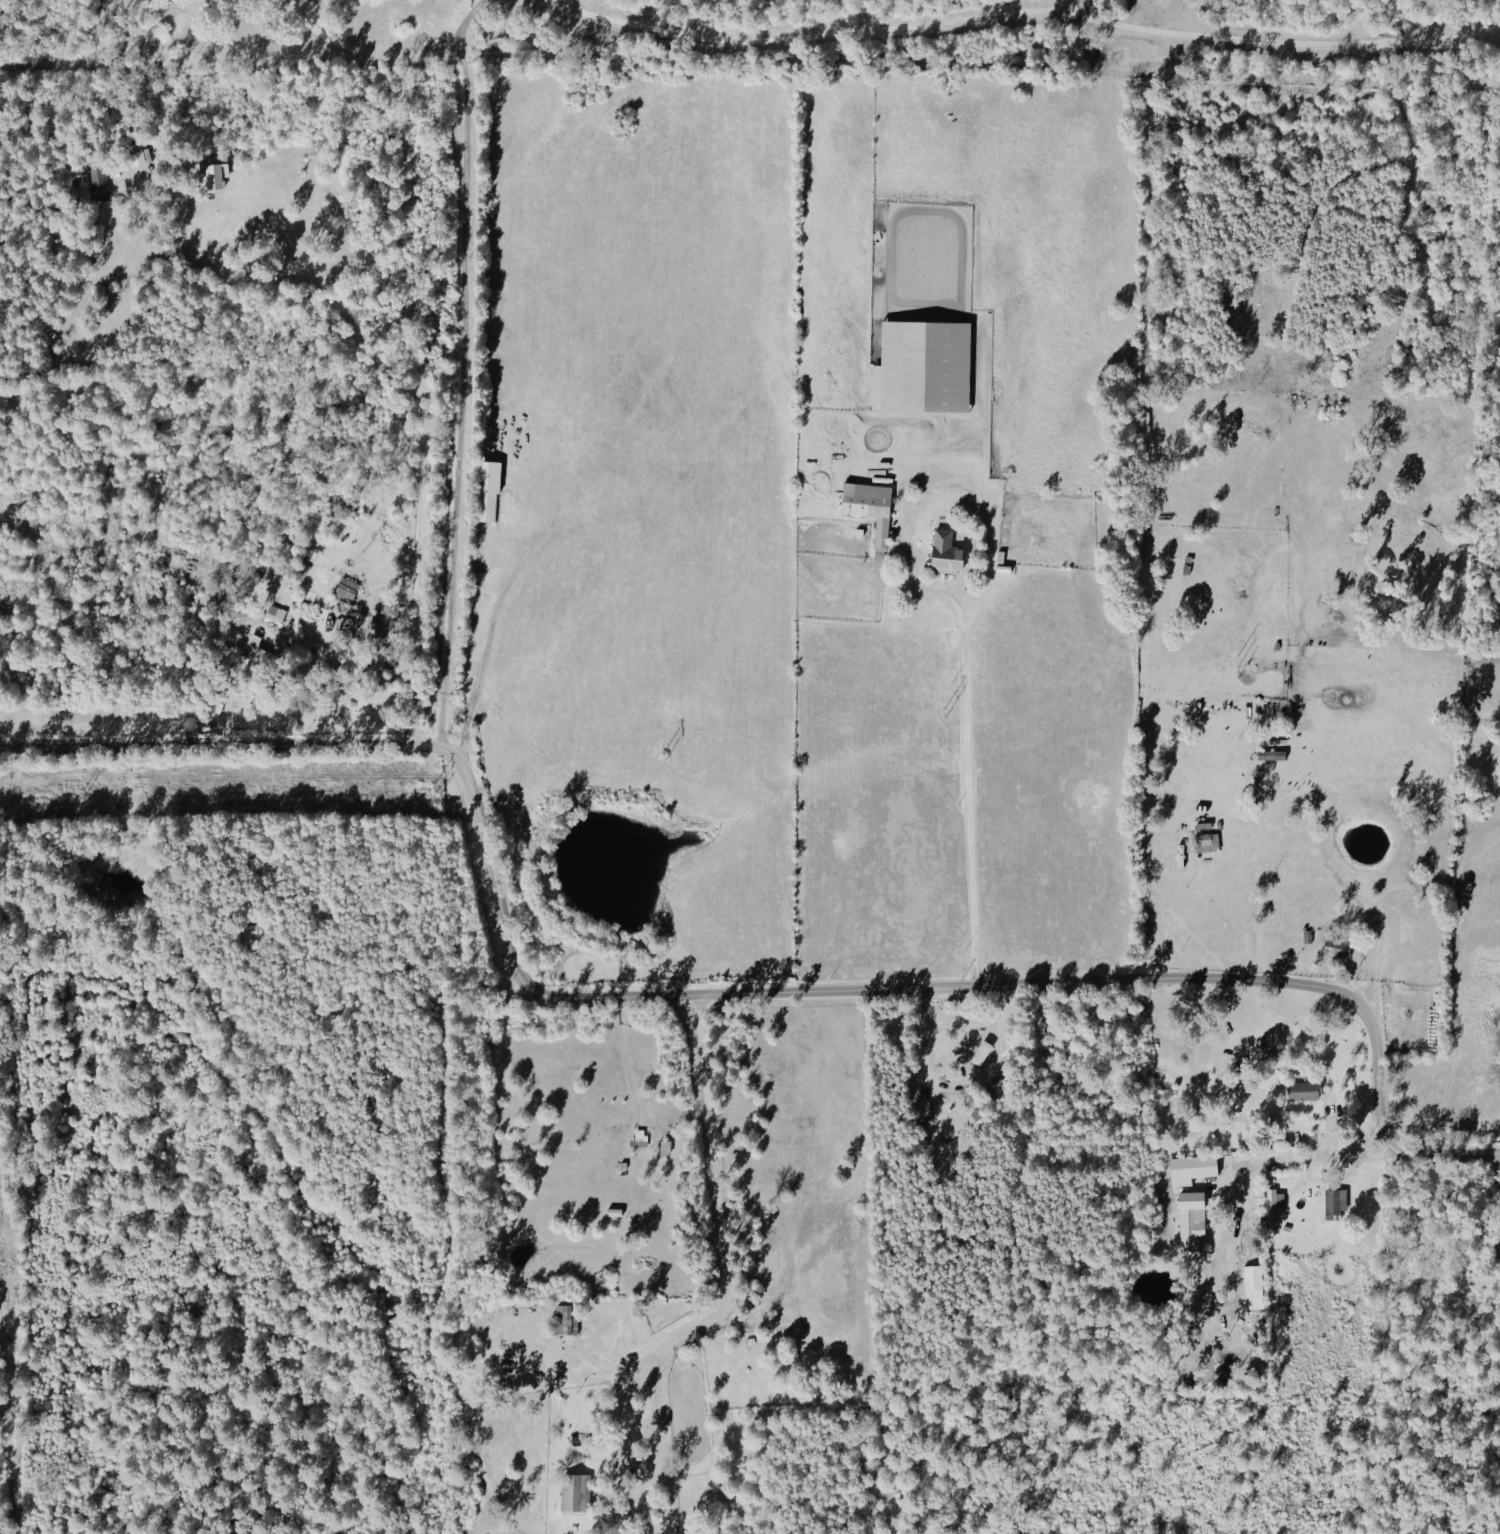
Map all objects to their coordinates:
road: (1022, 18)
road: (364, 49)
building: (213, 164)
building: (97, 183)
building: (921, 367)
road: (464, 369)
road: (401, 381)
road: (114, 450)
road: (943, 479)
building: (486, 491)
building: (867, 506)
building: (943, 552)
building: (344, 590)
building: (273, 615)
road: (484, 620)
building: (255, 652)
power tower: (1282, 669)
road: (236, 710)
power tower: (940, 713)
power tower: (644, 753)
building: (1270, 755)
power tower: (430, 797)
road: (968, 798)
power tower: (78, 799)
road: (1359, 900)
building: (1335, 948)
road: (718, 998)
building: (980, 1051)
road: (629, 1059)
road: (917, 1065)
building: (1302, 1090)
building: (623, 1134)
road: (1318, 1162)
building: (1272, 1205)
building: (1190, 1220)
road: (726, 1273)
building: (1251, 1276)
building: (564, 1319)
building: (573, 1492)

